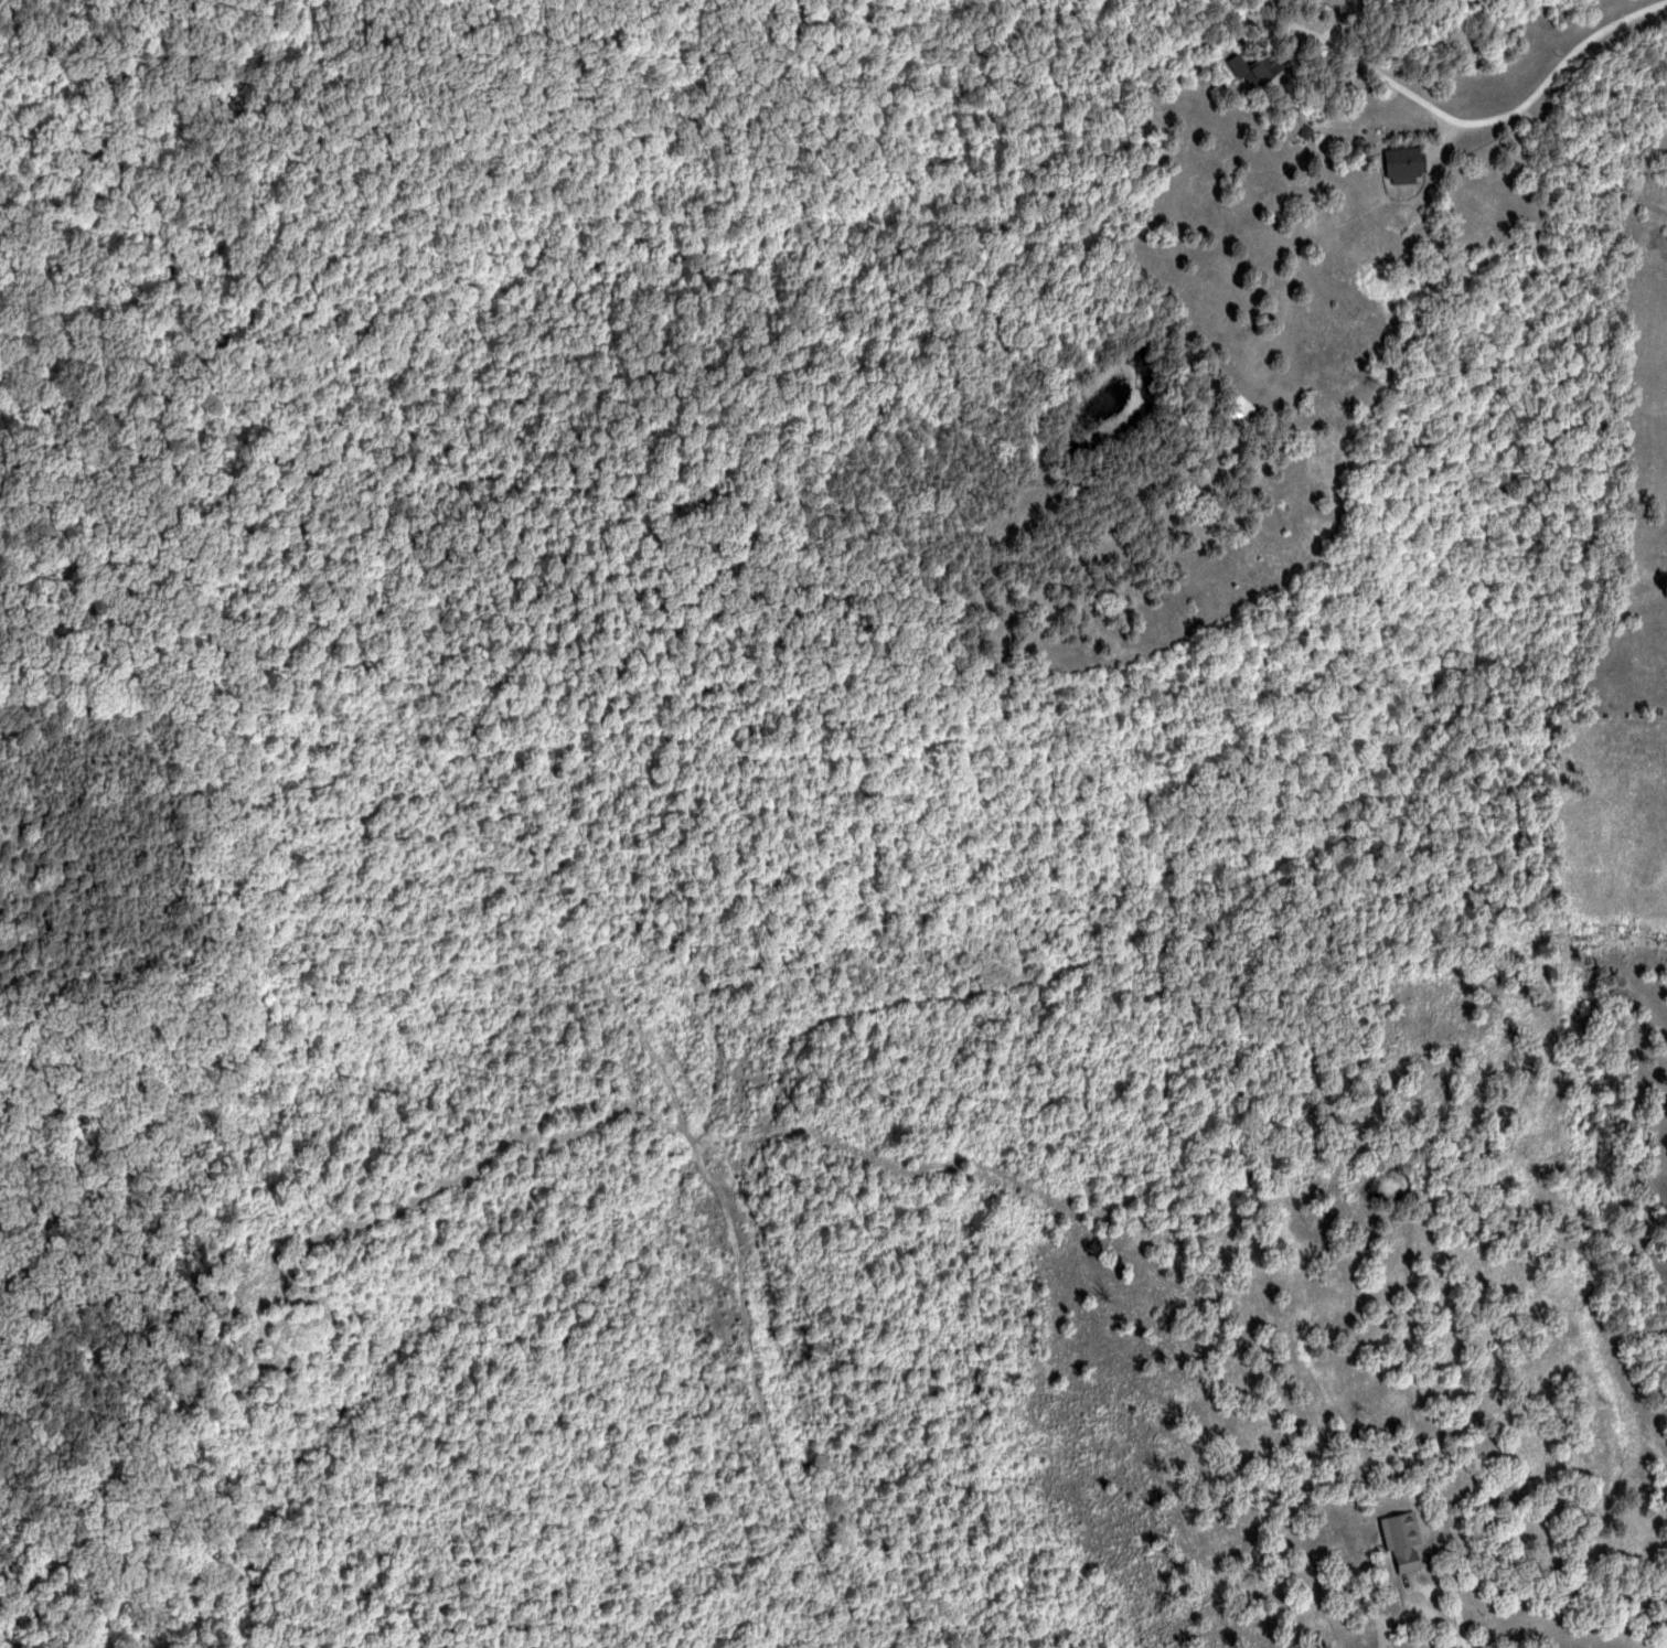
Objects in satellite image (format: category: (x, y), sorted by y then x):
building: (1408, 163)
building: (1406, 1540)

